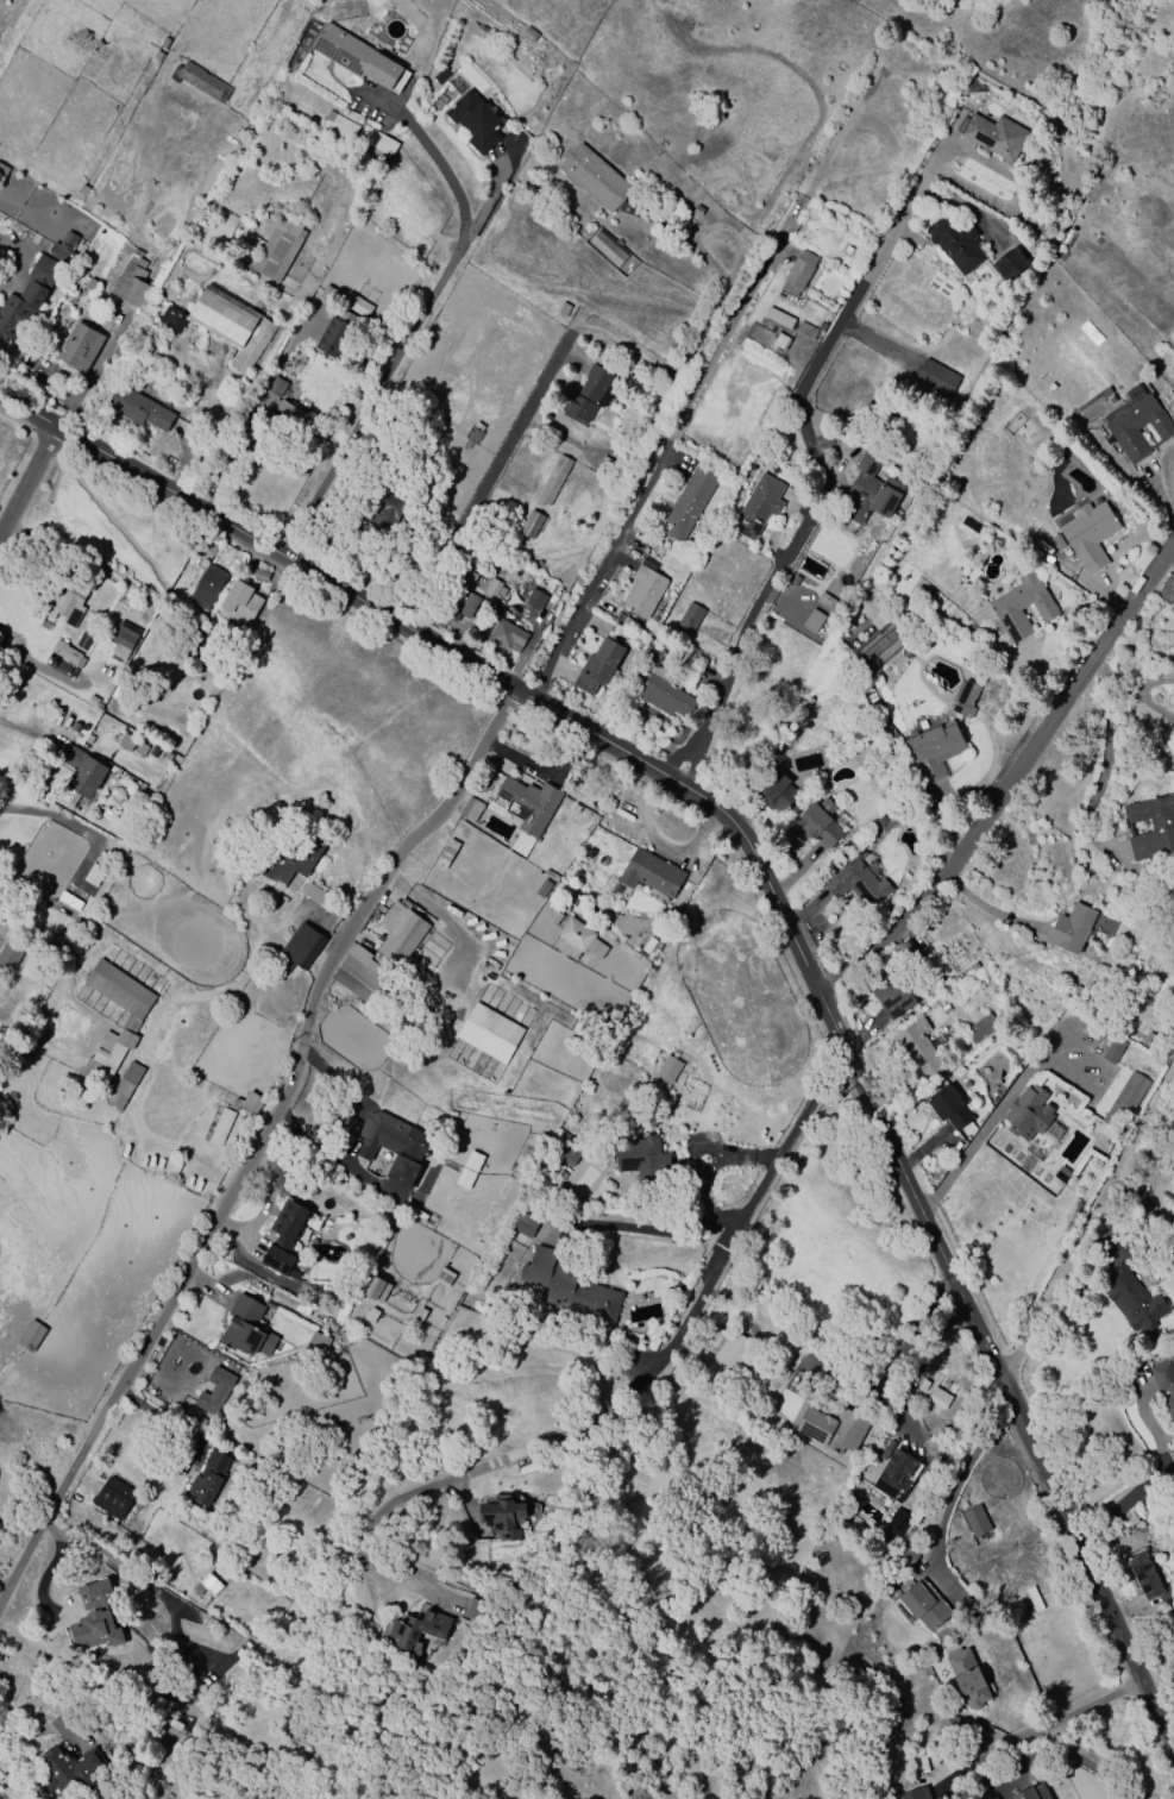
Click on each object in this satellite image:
building: (528, 35)
building: (356, 57)
building: (439, 75)
building: (202, 82)
building: (475, 121)
building: (338, 127)
building: (993, 137)
building: (376, 140)
building: (594, 177)
building: (81, 190)
building: (1031, 221)
building: (955, 243)
building: (277, 249)
building: (607, 250)
building: (1010, 263)
building: (797, 274)
building: (131, 282)
building: (89, 286)
building: (34, 288)
building: (326, 294)
building: (354, 305)
building: (563, 309)
road: (710, 312)
building: (213, 316)
road: (420, 316)
building: (778, 318)
building: (804, 331)
building: (335, 334)
building: (780, 341)
road: (718, 345)
building: (79, 347)
building: (251, 347)
road: (92, 374)
building: (936, 376)
building: (275, 387)
building: (590, 394)
building: (139, 408)
building: (288, 420)
building: (1137, 425)
building: (471, 435)
road: (613, 451)
road: (811, 459)
building: (305, 463)
road: (483, 478)
building: (552, 479)
road: (26, 481)
building: (872, 487)
building: (689, 502)
building: (758, 507)
building: (389, 512)
building: (529, 525)
building: (1088, 535)
building: (1057, 541)
road: (601, 571)
building: (209, 585)
building: (491, 587)
building: (643, 590)
building: (69, 598)
building: (534, 600)
building: (240, 604)
building: (460, 604)
building: (1021, 607)
building: (688, 619)
building: (812, 621)
building: (508, 633)
building: (123, 642)
building: (64, 653)
building: (652, 653)
road: (49, 660)
building: (598, 669)
building: (664, 694)
building: (965, 698)
road: (25, 732)
road: (1110, 741)
building: (132, 746)
building: (933, 754)
building: (84, 771)
road: (1011, 779)
building: (776, 792)
building: (528, 804)
building: (470, 810)
building: (817, 823)
building: (1150, 828)
building: (447, 854)
building: (288, 857)
building: (651, 873)
building: (858, 884)
building: (542, 889)
building: (314, 896)
road: (773, 899)
road: (987, 910)
road: (442, 917)
building: (1072, 930)
building: (576, 934)
building: (300, 947)
building: (596, 948)
building: (908, 955)
building: (390, 957)
building: (8, 958)
building: (891, 992)
building: (946, 1008)
building: (130, 1026)
building: (979, 1028)
building: (489, 1034)
building: (916, 1049)
building: (1112, 1049)
building: (665, 1072)
building: (123, 1087)
building: (1128, 1101)
building: (247, 1104)
building: (948, 1108)
building: (1028, 1114)
road: (993, 1117)
building: (220, 1128)
road: (258, 1142)
building: (394, 1145)
building: (570, 1155)
building: (641, 1158)
road: (716, 1161)
building: (469, 1170)
building: (1170, 1179)
building: (1173, 1206)
building: (526, 1224)
road: (657, 1230)
road: (1087, 1231)
building: (285, 1235)
building: (444, 1278)
building: (567, 1285)
building: (376, 1290)
building: (1131, 1296)
building: (245, 1327)
building: (318, 1341)
building: (737, 1352)
road: (924, 1361)
road: (647, 1378)
building: (1164, 1385)
building: (214, 1391)
building: (937, 1398)
building: (834, 1430)
building: (896, 1475)
building: (209, 1478)
road: (961, 1478)
building: (115, 1498)
road: (1123, 1504)
building: (501, 1518)
building: (898, 1521)
building: (978, 1521)
building: (1145, 1577)
building: (206, 1587)
building: (924, 1606)
building: (472, 1609)
building: (98, 1618)
building: (414, 1635)
building: (1173, 1649)
building: (1173, 1654)
building: (966, 1679)
road: (1055, 1719)
building: (948, 1728)
road: (29, 1734)
road: (1085, 1762)
building: (68, 1770)
building: (1031, 1793)
building: (915, 1794)

